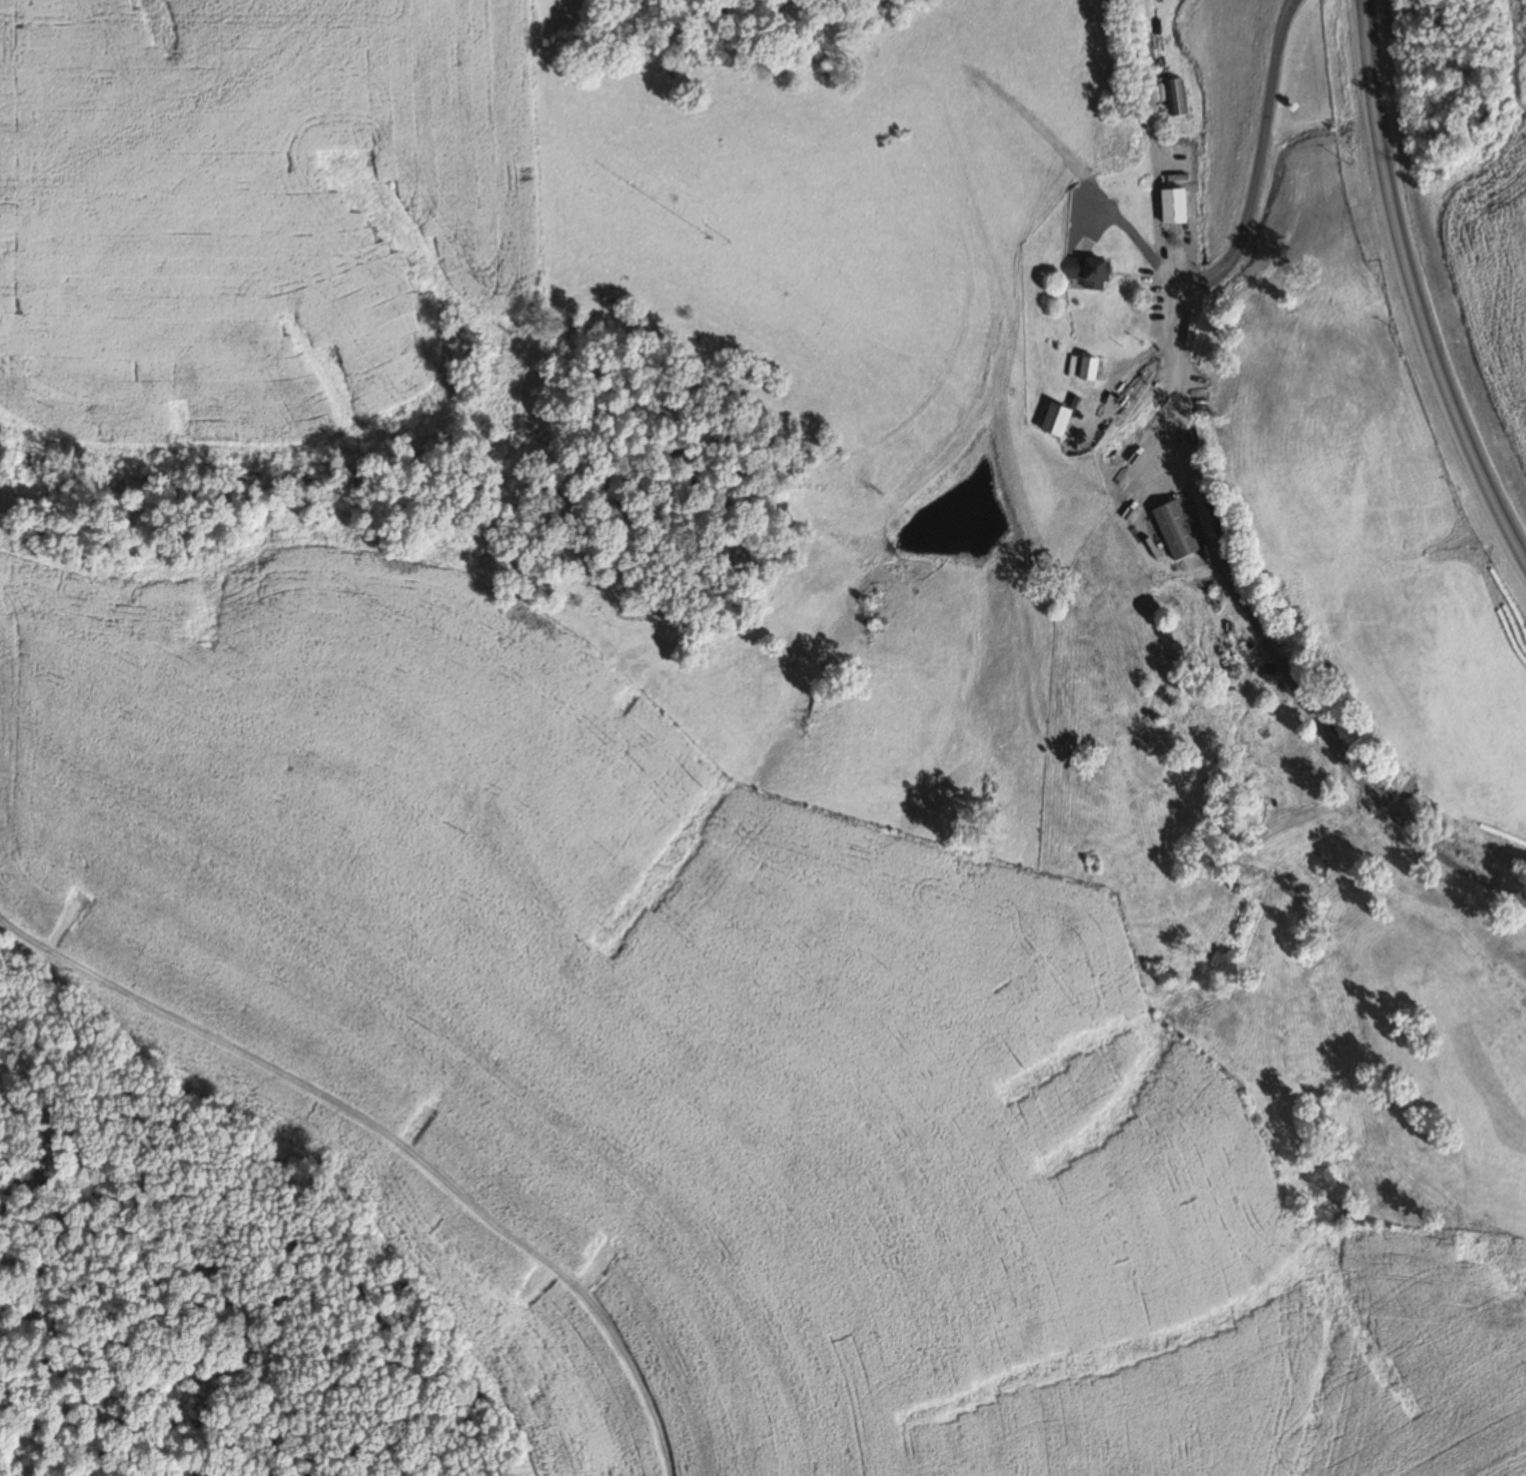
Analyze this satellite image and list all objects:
building: (1177, 96)
building: (1170, 205)
building: (1085, 271)
road: (1414, 286)
building: (1080, 368)
building: (1053, 421)
building: (1173, 529)
road: (1180, 529)

